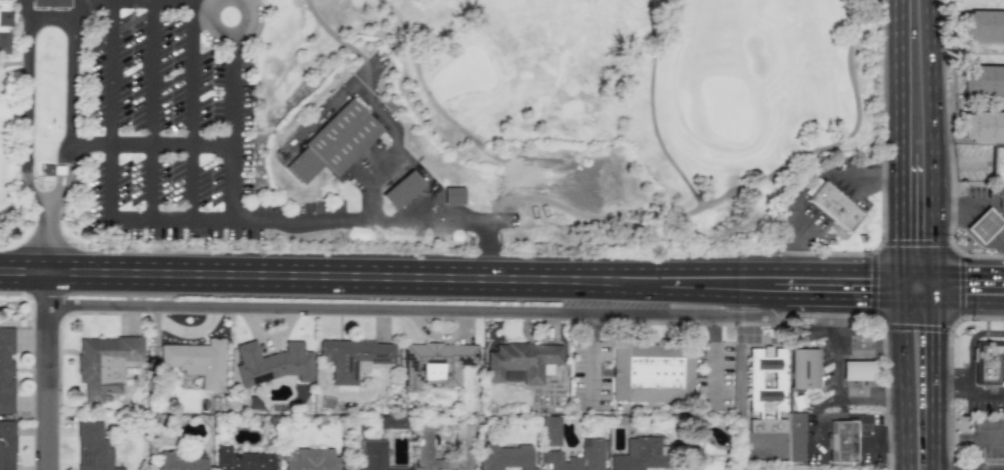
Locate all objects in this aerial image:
road: (113, 0)
building: (54, 3)
road: (79, 7)
road: (31, 20)
building: (982, 26)
building: (7, 27)
road: (332, 32)
road: (10, 63)
road: (193, 71)
road: (419, 77)
road: (895, 77)
building: (982, 81)
parking lot: (112, 91)
road: (650, 110)
park: (427, 120)
building: (982, 127)
building: (333, 142)
road: (936, 150)
road: (804, 152)
building: (998, 163)
road: (108, 167)
road: (67, 178)
road: (811, 184)
building: (400, 189)
road: (33, 194)
building: (452, 195)
building: (1001, 196)
road: (958, 205)
road: (13, 206)
building: (833, 207)
road: (895, 212)
road: (270, 219)
building: (983, 225)
gas station: (983, 225)
road: (983, 225)
road: (45, 237)
road: (997, 239)
road: (752, 268)
road: (917, 270)
road: (970, 272)
road: (306, 275)
road: (896, 284)
road: (634, 289)
road: (718, 294)
road: (837, 297)
road: (917, 300)
road: (971, 301)
road: (414, 310)
road: (844, 341)
road: (970, 346)
building: (353, 357)
road: (590, 357)
building: (196, 360)
building: (987, 361)
building: (521, 362)
road: (714, 362)
building: (272, 363)
building: (434, 363)
building: (103, 364)
building: (803, 368)
building: (6, 369)
road: (836, 369)
road: (44, 371)
building: (651, 373)
road: (797, 373)
road: (900, 384)
road: (938, 385)
road: (970, 391)
road: (868, 398)
building: (549, 430)
road: (973, 436)
building: (842, 440)
building: (461, 441)
building: (6, 445)
building: (92, 447)
building: (638, 454)
building: (373, 456)
building: (502, 456)
building: (575, 457)
building: (309, 459)
building: (242, 460)
building: (178, 462)

